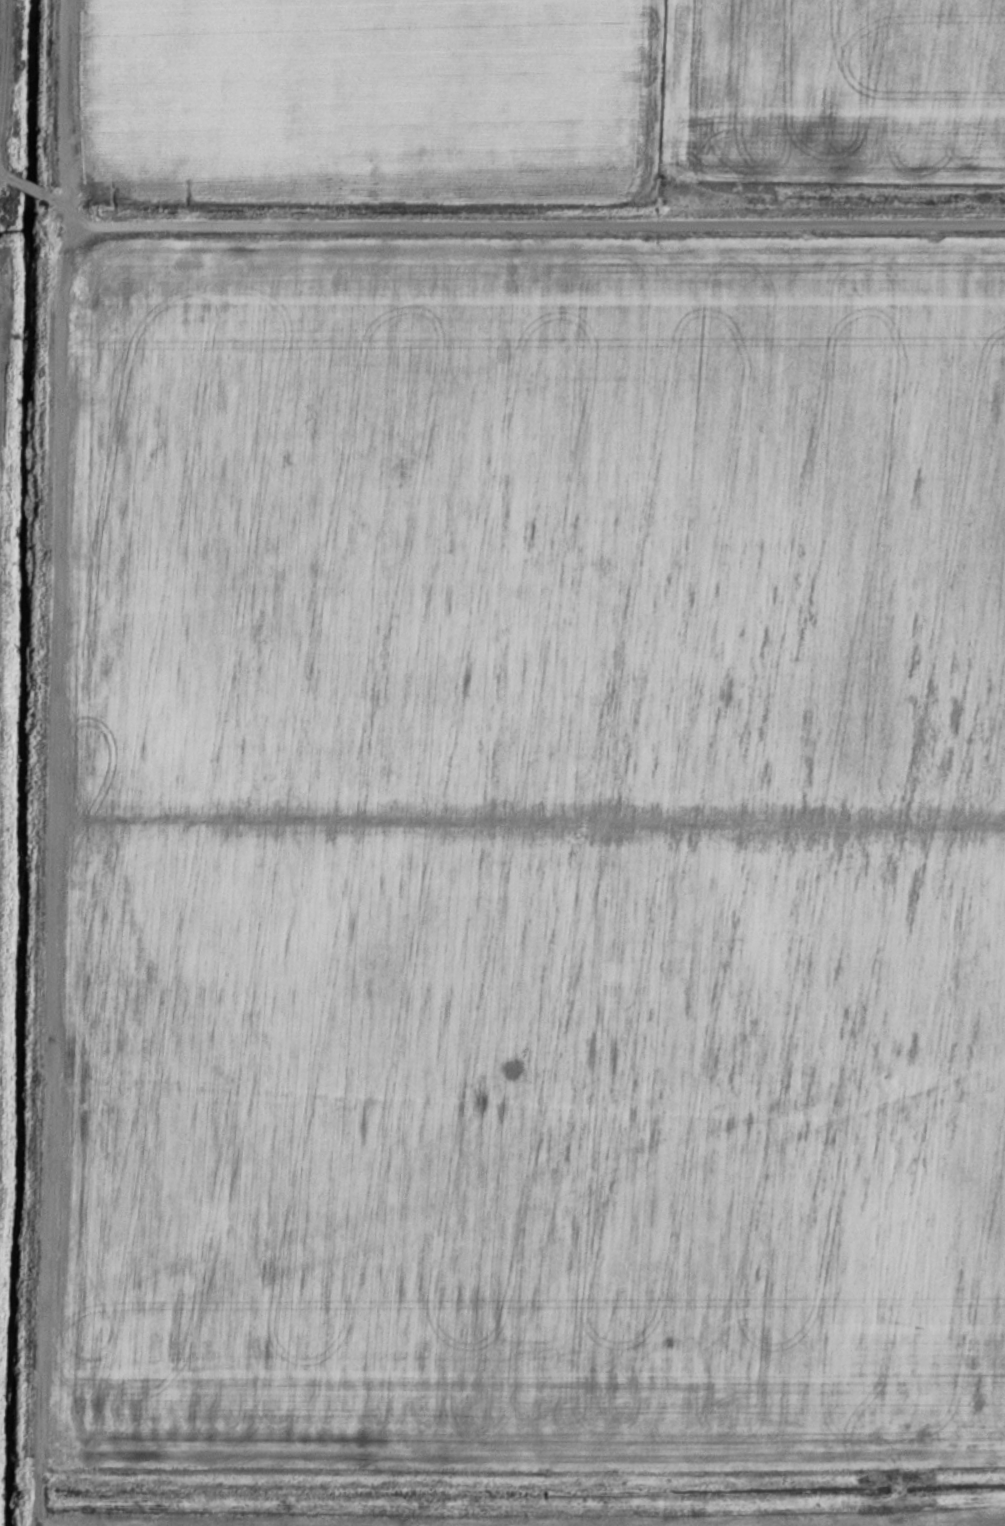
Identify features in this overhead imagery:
road: (7, 64)
road: (2, 171)
road: (27, 183)
road: (55, 197)
road: (537, 219)
road: (54, 762)

